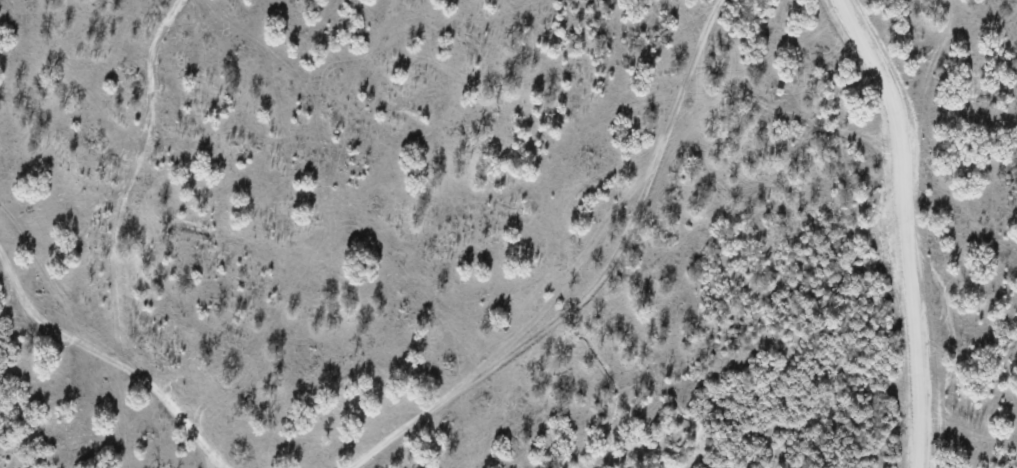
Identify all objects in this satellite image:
road: (907, 228)

